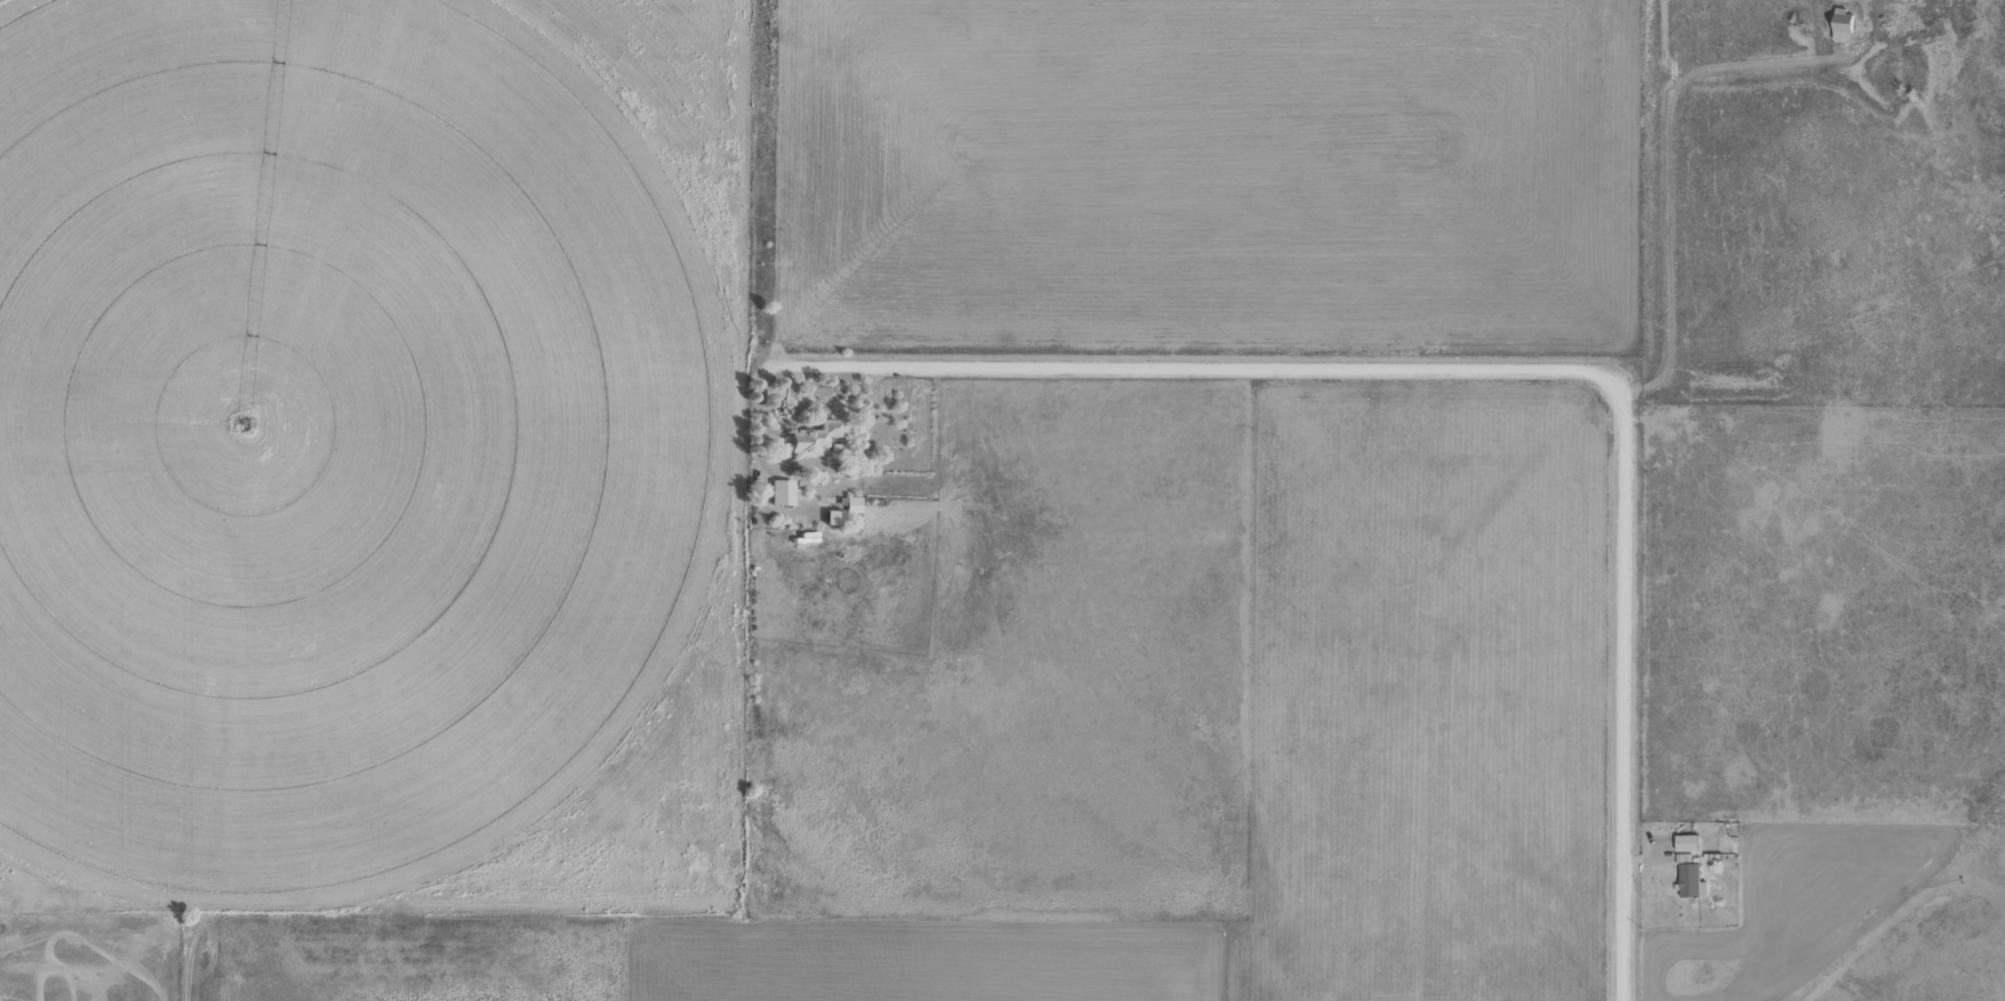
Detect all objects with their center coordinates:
building: (1841, 24)
road: (1501, 366)
building: (811, 438)
building: (780, 492)
building: (831, 518)
building: (1686, 842)
building: (1689, 876)

